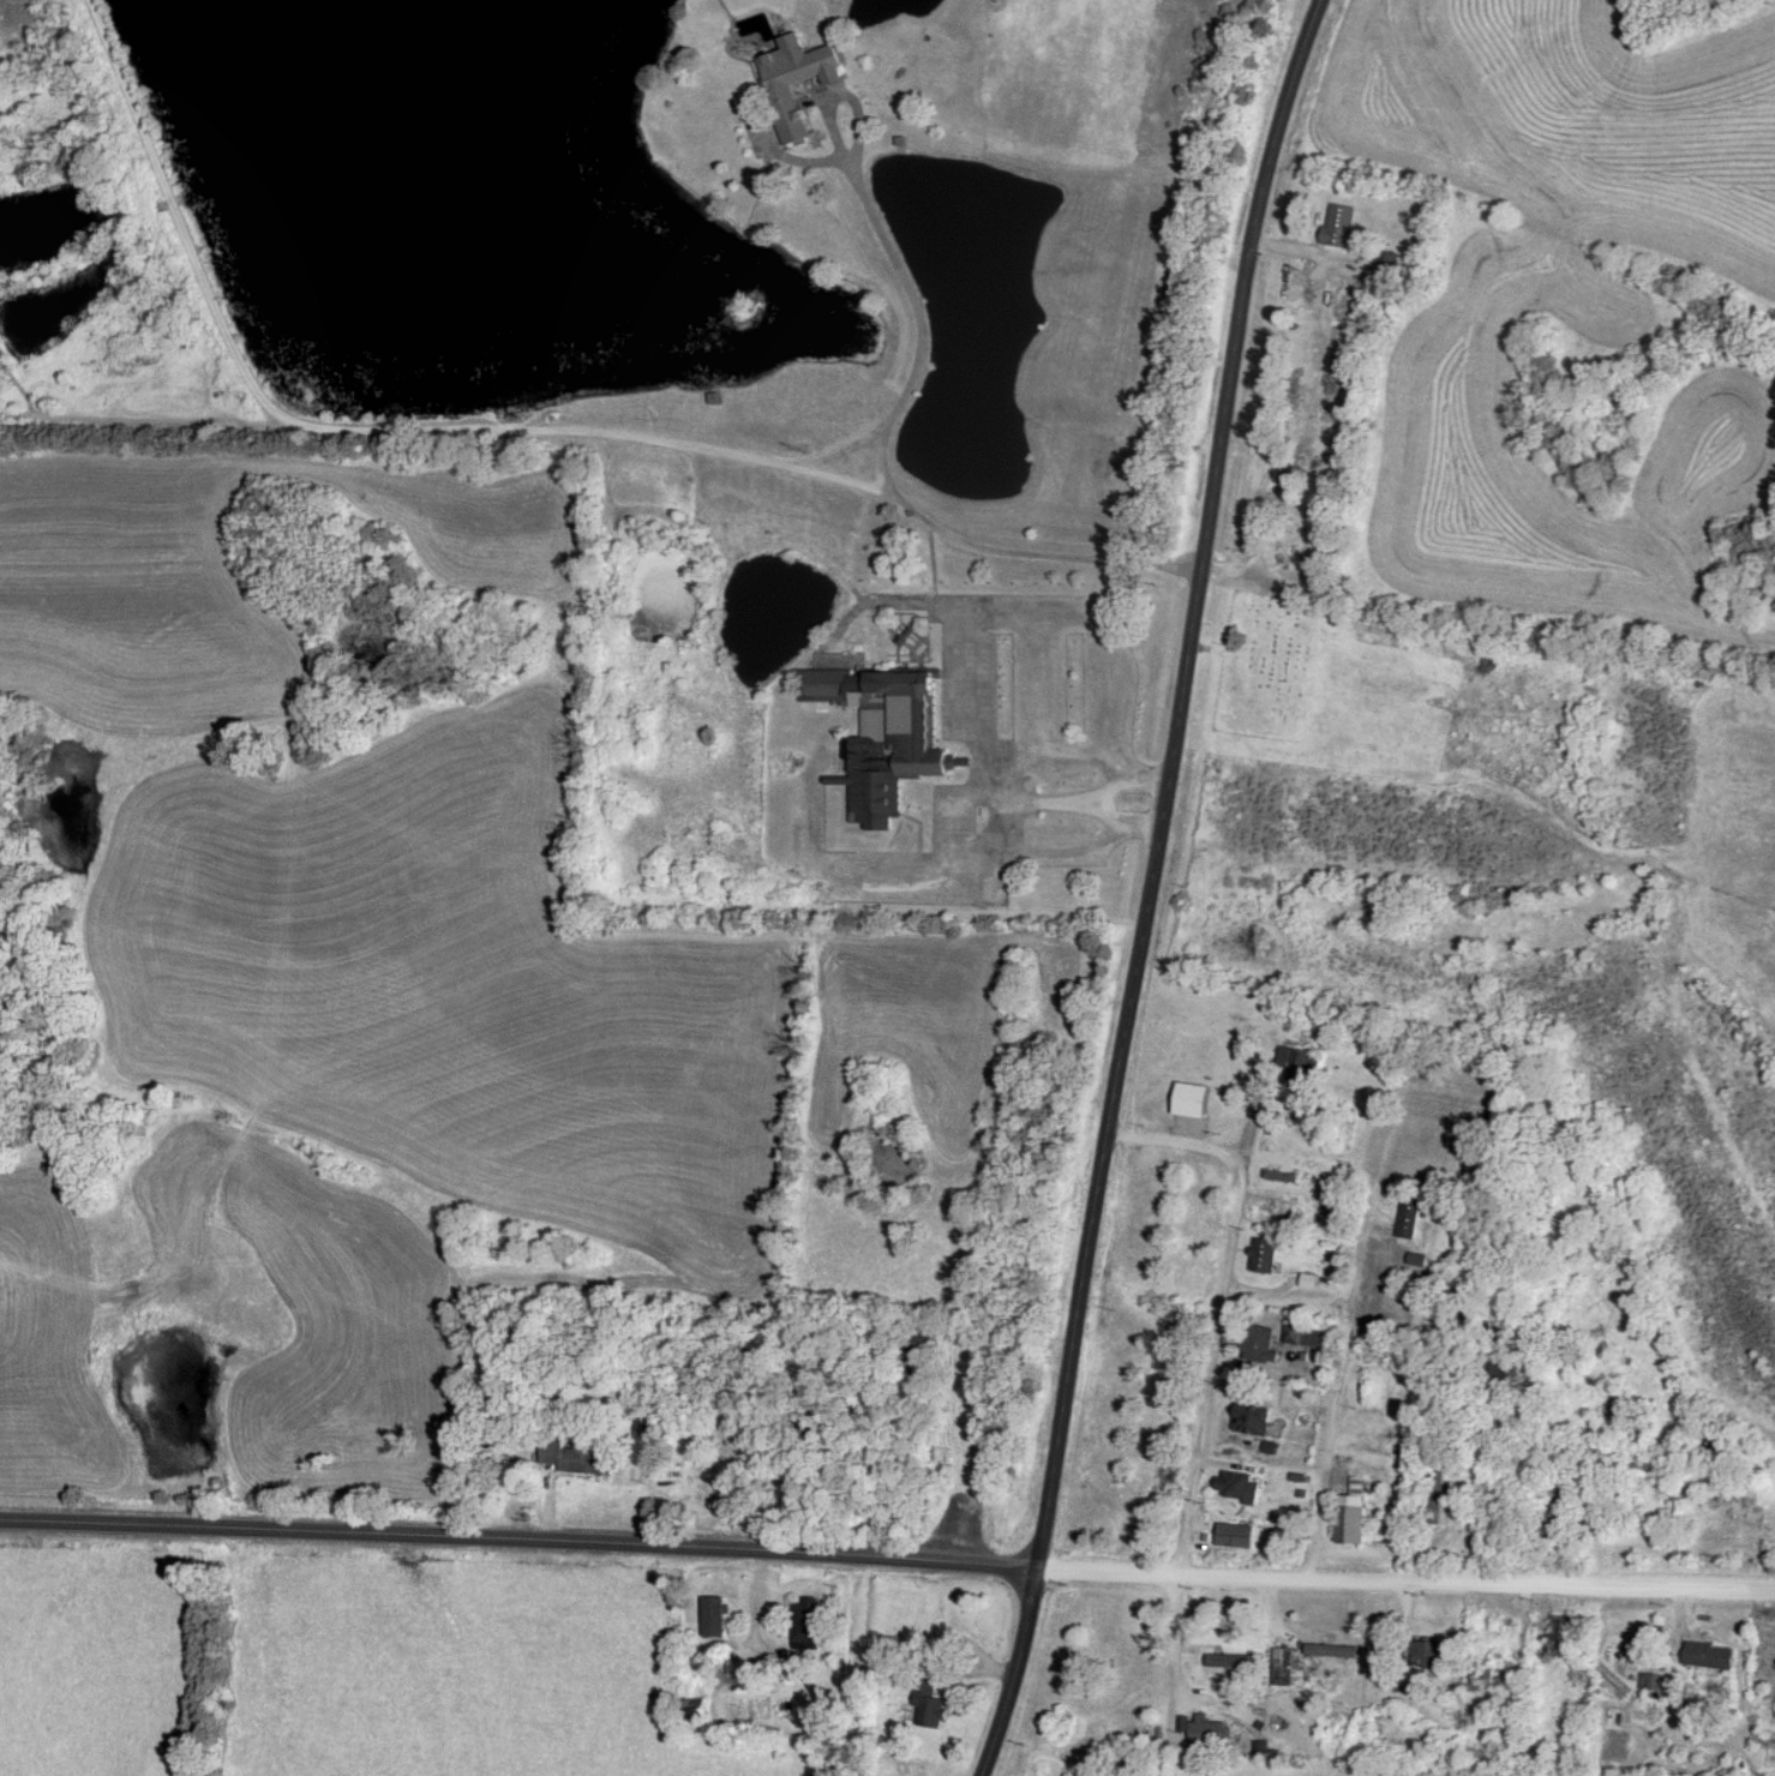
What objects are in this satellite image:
building: (786, 112)
building: (1341, 224)
road: (365, 432)
road: (889, 451)
building: (1294, 530)
building: (880, 737)
road: (979, 757)
road: (1101, 798)
road: (1156, 887)
building: (1299, 1067)
building: (1192, 1099)
building: (1426, 1117)
road: (1182, 1152)
building: (1427, 1158)
building: (1287, 1202)
building: (1410, 1219)
building: (1265, 1256)
building: (1305, 1336)
road: (1216, 1342)
building: (1260, 1345)
building: (1252, 1421)
road: (1338, 1450)
road: (1447, 1451)
building: (563, 1457)
building: (1236, 1486)
building: (1438, 1498)
building: (1549, 1519)
building: (1351, 1522)
building: (1235, 1536)
road: (521, 1544)
road: (1408, 1590)
building: (714, 1618)
building: (805, 1624)
building: (1480, 1630)
building: (1561, 1638)
road: (1171, 1642)
building: (1768, 1650)
building: (1708, 1656)
building: (1421, 1660)
building: (1278, 1670)
building: (925, 1705)
building: (1218, 1732)

